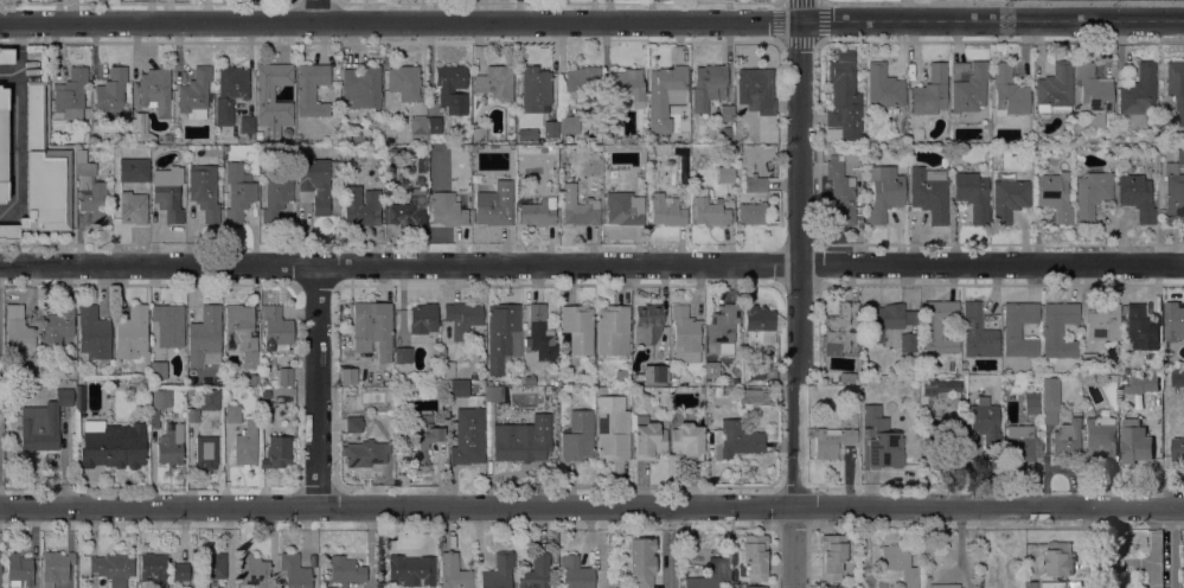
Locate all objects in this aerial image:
road: (1003, 1)
road: (316, 11)
road: (991, 20)
road: (557, 21)
road: (158, 23)
building: (844, 53)
building: (6, 56)
road: (21, 58)
building: (581, 81)
building: (667, 81)
building: (404, 82)
building: (495, 82)
building: (628, 84)
building: (708, 85)
building: (968, 85)
building: (361, 87)
building: (883, 87)
building: (452, 88)
building: (1176, 88)
building: (311, 89)
building: (535, 89)
building: (755, 90)
building: (1054, 90)
building: (156, 91)
building: (230, 91)
building: (930, 91)
building: (1007, 91)
building: (71, 94)
building: (110, 94)
building: (194, 94)
building: (1093, 94)
building: (1138, 95)
building: (273, 97)
building: (843, 103)
building: (725, 113)
building: (245, 124)
building: (434, 124)
building: (568, 124)
building: (986, 124)
building: (610, 126)
building: (418, 127)
building: (550, 129)
building: (767, 129)
building: (141, 132)
building: (479, 134)
building: (526, 134)
building: (727, 134)
building: (258, 135)
building: (357, 136)
building: (167, 138)
building: (661, 139)
building: (772, 140)
building: (2, 143)
building: (730, 147)
road: (18, 148)
building: (737, 149)
building: (139, 166)
building: (43, 174)
building: (724, 174)
building: (565, 175)
building: (482, 179)
building: (315, 181)
building: (759, 185)
building: (389, 190)
building: (1175, 191)
building: (204, 192)
building: (238, 192)
building: (883, 192)
building: (168, 193)
building: (929, 193)
building: (276, 194)
building: (839, 194)
building: (972, 194)
building: (1092, 194)
building: (92, 196)
building: (1054, 196)
building: (1137, 196)
building: (1009, 197)
building: (389, 199)
building: (360, 206)
building: (133, 209)
building: (580, 209)
building: (623, 209)
building: (447, 210)
building: (710, 210)
building: (666, 211)
building: (494, 212)
building: (537, 212)
building: (753, 213)
building: (412, 215)
road: (591, 263)
road: (798, 294)
building: (462, 318)
building: (423, 319)
building: (885, 320)
building: (1173, 321)
building: (1103, 322)
building: (647, 324)
building: (59, 325)
building: (168, 325)
building: (757, 326)
building: (939, 326)
building: (276, 327)
building: (577, 327)
building: (372, 328)
building: (1141, 328)
building: (18, 330)
building: (613, 330)
building: (722, 330)
building: (841, 330)
building: (1019, 330)
building: (1058, 330)
building: (242, 332)
building: (978, 333)
building: (133, 334)
building: (92, 335)
building: (501, 335)
building: (539, 335)
building: (685, 335)
building: (205, 338)
building: (908, 343)
building: (403, 354)
building: (1088, 362)
building: (1152, 363)
building: (446, 366)
building: (868, 367)
building: (156, 370)
building: (964, 372)
building: (364, 373)
building: (755, 373)
building: (348, 375)
building: (655, 375)
building: (284, 377)
building: (846, 377)
building: (960, 377)
building: (1178, 378)
building: (254, 379)
building: (529, 381)
building: (114, 382)
building: (205, 382)
building: (217, 382)
building: (228, 382)
building: (564, 382)
building: (674, 382)
building: (442, 384)
building: (1141, 384)
road: (316, 385)
building: (939, 386)
building: (459, 389)
building: (599, 390)
building: (292, 391)
building: (699, 391)
building: (725, 391)
building: (265, 392)
building: (41, 394)
building: (493, 394)
building: (753, 395)
building: (81, 398)
building: (209, 398)
building: (850, 398)
building: (1050, 400)
building: (1031, 403)
building: (159, 404)
building: (265, 411)
building: (192, 414)
building: (232, 414)
building: (985, 422)
building: (43, 423)
building: (354, 423)
building: (613, 428)
building: (943, 435)
building: (1101, 435)
building: (577, 436)
building: (425, 437)
building: (468, 437)
building: (647, 439)
building: (737, 439)
building: (523, 440)
building: (1067, 440)
building: (687, 441)
building: (831, 441)
building: (878, 441)
building: (1134, 442)
building: (1022, 443)
building: (113, 445)
building: (171, 445)
building: (245, 445)
building: (1177, 449)
building: (206, 452)
building: (276, 452)
building: (365, 453)
road: (591, 506)
road: (380, 547)
road: (667, 548)
road: (1092, 548)
road: (1169, 548)
building: (833, 555)
building: (755, 556)
building: (1057, 558)
building: (641, 562)
building: (1183, 562)
building: (900, 564)
building: (212, 565)
building: (56, 567)
building: (113, 568)
building: (153, 569)
building: (19, 570)
building: (255, 570)
building: (345, 570)
building: (410, 570)
building: (180, 571)
building: (294, 571)
building: (498, 571)
building: (453, 573)
building: (536, 573)
building: (575, 573)
building: (0, 575)
building: (710, 575)
building: (203, 584)
building: (1031, 584)
building: (943, 586)
building: (754, 587)
building: (837, 587)

